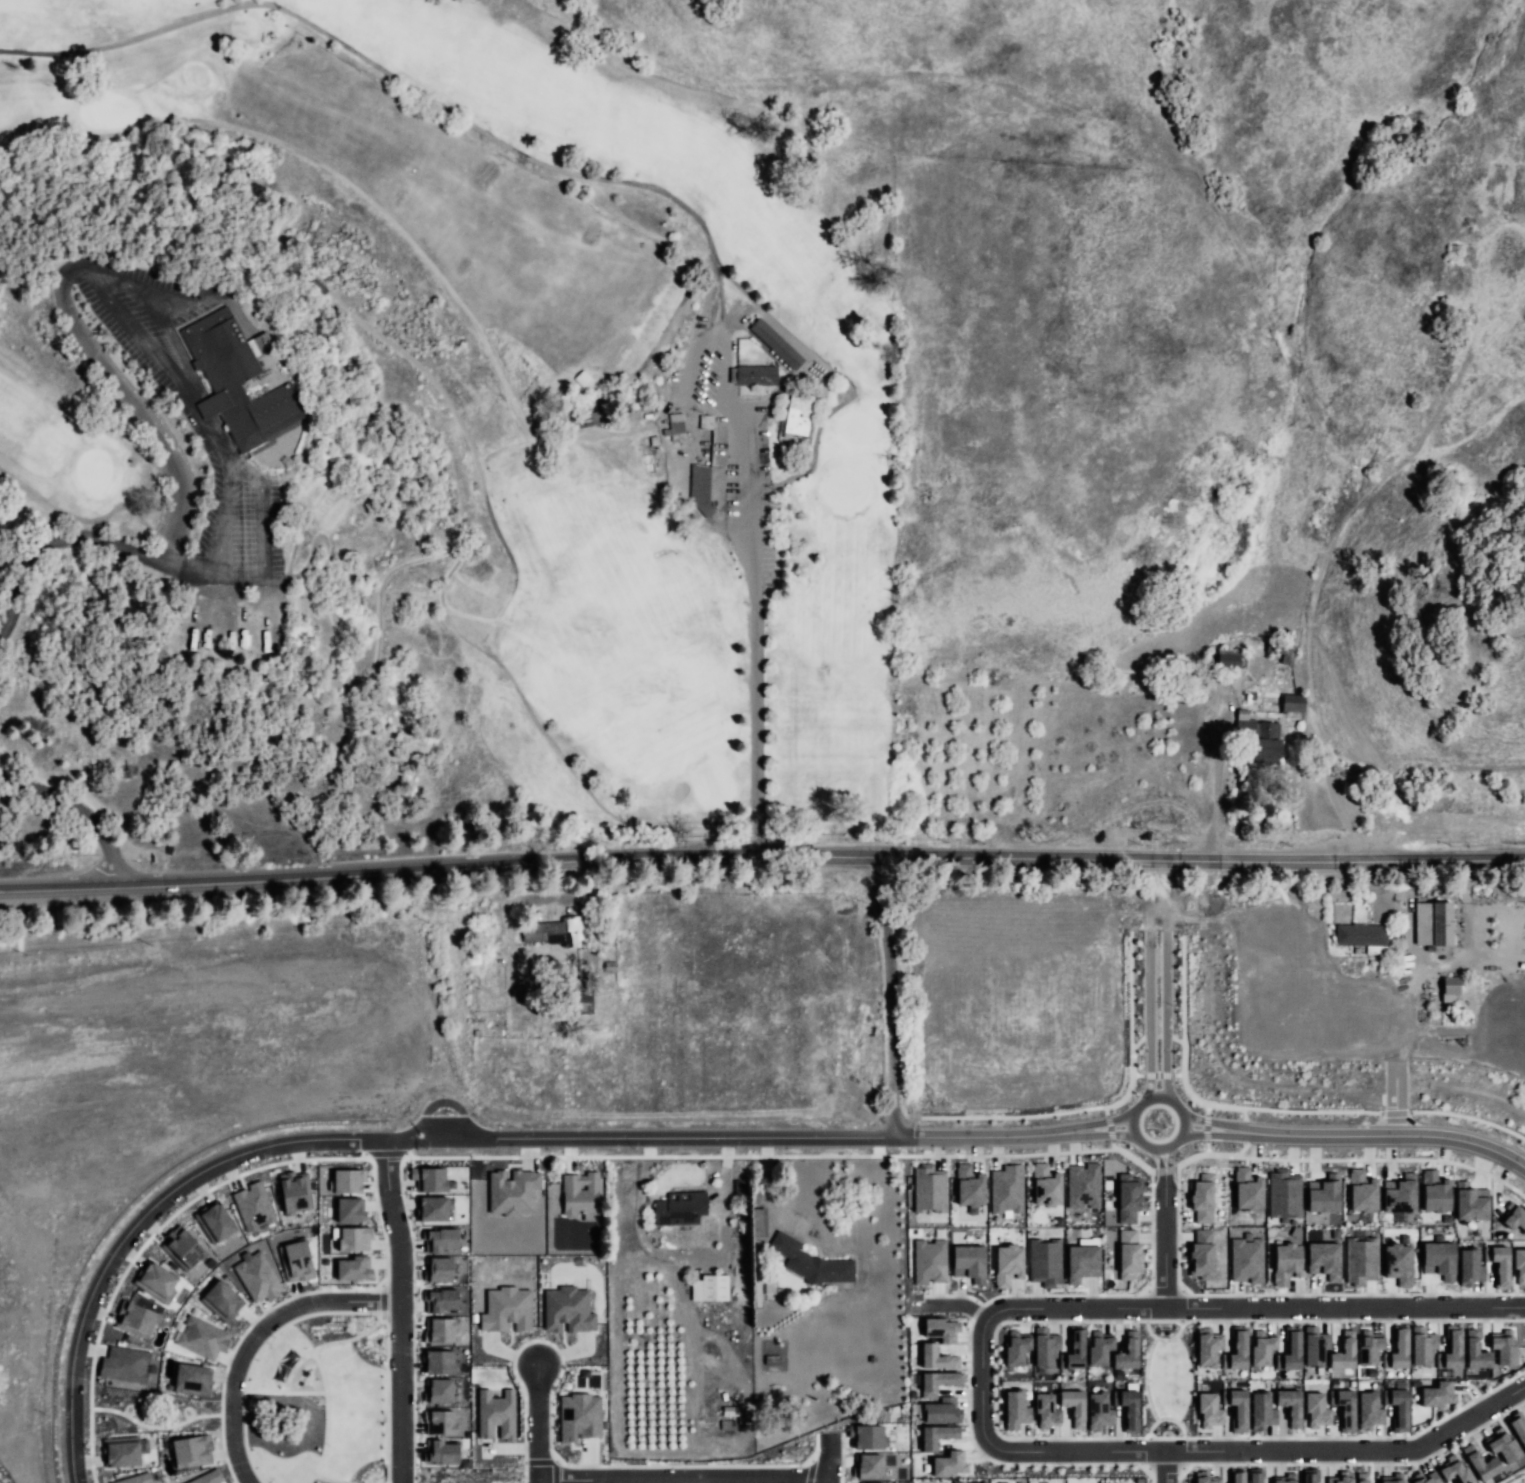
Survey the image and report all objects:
road: (473, 126)
road: (329, 172)
building: (1514, 188)
road: (163, 312)
building: (775, 344)
road: (646, 367)
building: (755, 376)
building: (242, 381)
park: (579, 381)
road: (139, 413)
building: (797, 416)
building: (705, 422)
road: (821, 422)
building: (675, 424)
road: (203, 429)
parking lot: (222, 453)
parking lot: (741, 455)
park: (81, 478)
building: (698, 488)
building: (1318, 520)
road: (86, 522)
road: (65, 536)
road: (223, 538)
road: (500, 542)
road: (756, 639)
building: (1229, 660)
road: (345, 678)
building: (1293, 705)
road: (1317, 715)
building: (1268, 741)
road: (1215, 791)
road: (80, 814)
road: (762, 857)
building: (1433, 926)
building: (558, 929)
building: (1360, 937)
road: (1157, 977)
building: (1451, 990)
road: (890, 1020)
crop: (688, 1030)
road: (1174, 1038)
road: (1140, 1040)
crop: (1507, 1044)
road: (1137, 1074)
road: (1158, 1074)
road: (1178, 1074)
road: (1130, 1084)
road: (1190, 1094)
road: (1394, 1098)
road: (444, 1102)
road: (1139, 1105)
road: (1206, 1109)
road: (1105, 1110)
road: (1311, 1111)
road: (1394, 1112)
road: (1012, 1115)
road: (1468, 1117)
road: (1248, 1120)
road: (1110, 1122)
road: (1210, 1123)
road: (1109, 1128)
road: (1204, 1128)
road: (1209, 1132)
road: (1244, 1132)
road: (1110, 1133)
road: (1393, 1134)
road: (518, 1136)
road: (989, 1136)
road: (400, 1137)
road: (756, 1137)
road: (344, 1139)
road: (1112, 1144)
road: (1244, 1145)
road: (1206, 1148)
road: (384, 1152)
road: (1202, 1154)
road: (792, 1155)
road: (436, 1156)
road: (1132, 1157)
road: (1384, 1159)
road: (1158, 1160)
road: (1167, 1160)
road: (1163, 1169)
building: (428, 1179)
building: (345, 1181)
building: (1045, 1185)
building: (1082, 1185)
road: (769, 1186)
building: (969, 1187)
building: (928, 1188)
building: (1006, 1189)
building: (1247, 1189)
building: (295, 1191)
building: (512, 1191)
building: (1361, 1191)
building: (1434, 1192)
building: (1399, 1193)
building: (1283, 1194)
building: (1323, 1194)
building: (582, 1196)
building: (1126, 1196)
building: (1201, 1199)
building: (1470, 1202)
building: (252, 1206)
building: (681, 1206)
building: (432, 1208)
building: (347, 1209)
building: (1513, 1217)
building: (214, 1221)
building: (760, 1223)
road: (1150, 1230)
road: (1177, 1230)
building: (353, 1238)
road: (1163, 1238)
building: (438, 1240)
building: (181, 1248)
road: (682, 1252)
building: (1128, 1254)
building: (1201, 1254)
road: (110, 1257)
building: (1247, 1258)
building: (1082, 1259)
building: (1323, 1259)
building: (1360, 1259)
building: (1439, 1259)
building: (295, 1261)
building: (929, 1261)
building: (811, 1262)
building: (968, 1262)
building: (1044, 1262)
building: (1285, 1263)
building: (1397, 1263)
building: (1007, 1264)
building: (1498, 1264)
building: (1519, 1266)
building: (1469, 1267)
building: (350, 1268)
building: (437, 1269)
building: (257, 1277)
building: (154, 1280)
building: (711, 1288)
road: (1164, 1290)
road: (1353, 1293)
road: (952, 1294)
building: (221, 1300)
building: (439, 1300)
road: (949, 1304)
road: (1181, 1305)
road: (1252, 1305)
road: (401, 1309)
building: (506, 1309)
building: (567, 1309)
building: (134, 1319)
building: (940, 1328)
building: (438, 1330)
road: (253, 1333)
building: (200, 1337)
road: (1162, 1338)
building: (1044, 1346)
building: (1314, 1346)
building: (1421, 1346)
building: (1207, 1347)
building: (1261, 1347)
building: (1502, 1347)
building: (1015, 1348)
building: (1098, 1348)
building: (1368, 1348)
building: (1450, 1348)
building: (1236, 1350)
building: (1073, 1351)
building: (1290, 1351)
building: (1343, 1351)
building: (1396, 1351)
building: (1474, 1351)
building: (1126, 1352)
building: (936, 1357)
building: (437, 1361)
building: (124, 1363)
road: (1145, 1378)
road: (968, 1380)
building: (937, 1381)
road: (981, 1386)
road: (993, 1387)
building: (437, 1390)
building: (1431, 1393)
building: (1290, 1405)
building: (1073, 1406)
building: (1127, 1407)
building: (1343, 1407)
building: (1016, 1408)
building: (1236, 1408)
building: (941, 1410)
building: (1208, 1410)
building: (1261, 1410)
building: (1315, 1410)
building: (1368, 1410)
building: (1045, 1411)
building: (1098, 1411)
building: (495, 1414)
building: (578, 1416)
road: (1165, 1418)
building: (439, 1422)
road: (536, 1425)
building: (1517, 1428)
building: (865, 1436)
building: (936, 1436)
building: (1501, 1445)
building: (191, 1450)
building: (120, 1451)
road: (1355, 1451)
building: (439, 1452)
road: (1080, 1452)
road: (1147, 1452)
road: (828, 1458)
road: (539, 1462)
road: (1360, 1462)
building: (1480, 1463)
building: (948, 1464)
building: (867, 1465)
road: (1164, 1467)
road: (1167, 1467)
building: (1453, 1470)
road: (524, 1472)
road: (554, 1472)
road: (1150, 1474)
road: (1178, 1475)
building: (1254, 1475)
building: (1308, 1475)
building: (205, 1476)
building: (1237, 1476)
building: (1204, 1477)
building: (1361, 1477)
building: (134, 1478)
building: (1340, 1478)
building: (1424, 1478)
road: (1517, 1478)
road: (682, 1480)
building: (1391, 1480)

